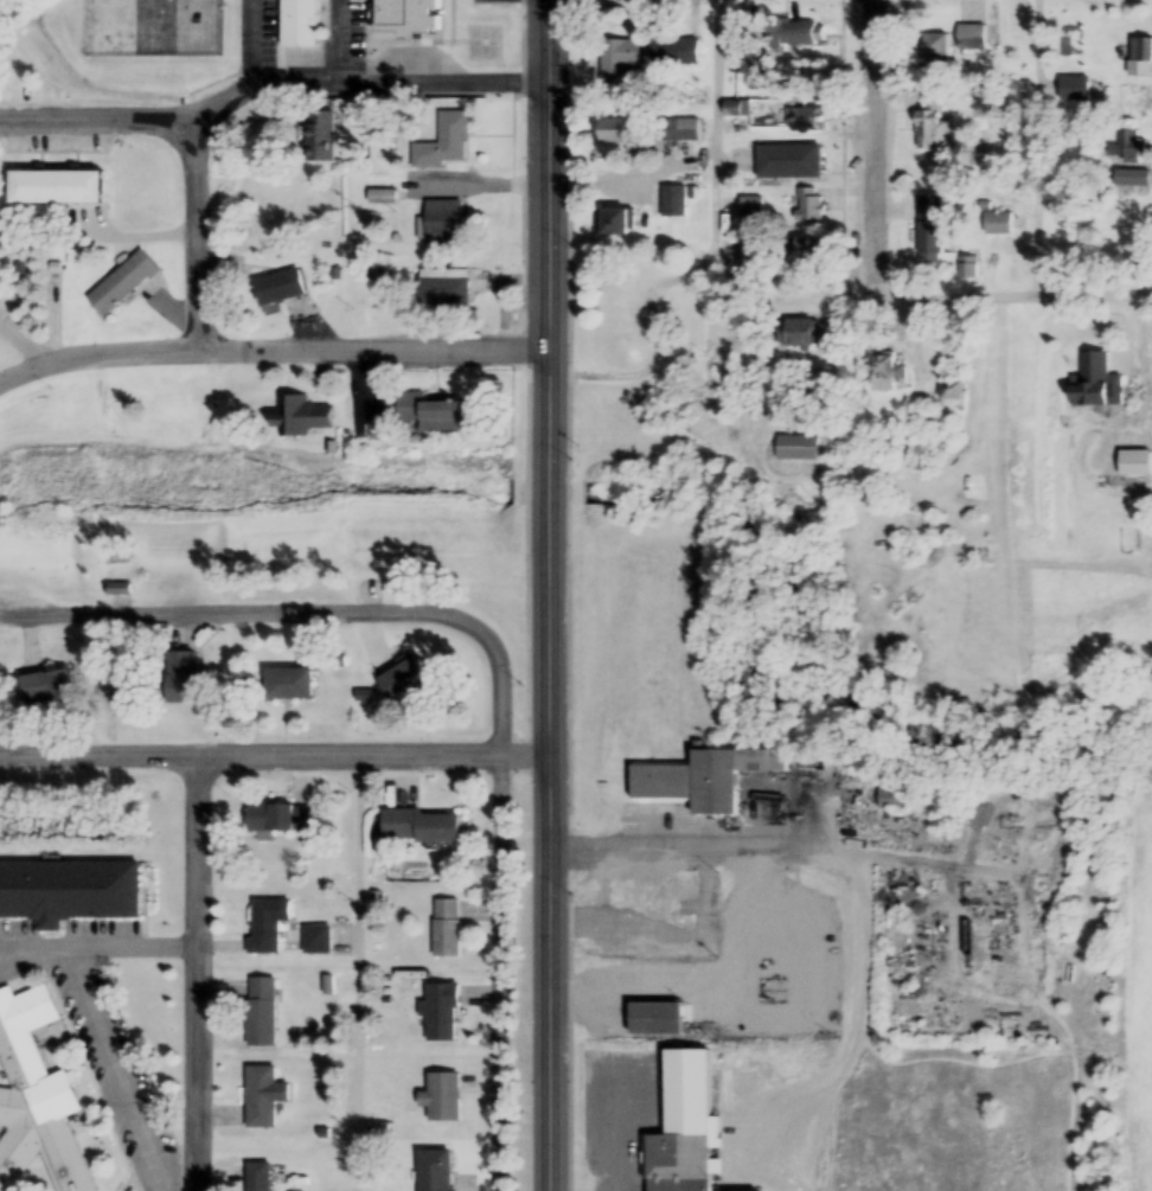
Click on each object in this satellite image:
building: (408, 11)
building: (297, 23)
building: (795, 34)
building: (971, 38)
helipad: (486, 41)
building: (934, 52)
building: (673, 55)
building: (1140, 55)
building: (617, 60)
building: (753, 64)
road: (369, 78)
road: (97, 115)
building: (804, 119)
building: (686, 129)
building: (609, 132)
building: (933, 133)
building: (318, 135)
building: (443, 142)
road: (1039, 142)
road: (877, 145)
building: (1135, 145)
building: (787, 162)
building: (51, 187)
building: (673, 201)
building: (808, 204)
building: (442, 222)
building: (614, 222)
building: (997, 223)
building: (929, 225)
road: (199, 230)
street lamp: (576, 245)
building: (805, 251)
road: (709, 254)
building: (967, 268)
building: (126, 284)
road: (1015, 286)
building: (275, 287)
building: (441, 287)
building: (795, 334)
road: (273, 342)
building: (883, 372)
building: (1094, 383)
building: (949, 396)
building: (429, 414)
building: (300, 418)
building: (793, 447)
street lamp: (578, 459)
building: (1131, 463)
road: (552, 595)
road: (252, 604)
building: (181, 670)
road: (504, 677)
building: (402, 680)
building: (288, 683)
street lamp: (524, 685)
building: (46, 687)
road: (275, 744)
building: (702, 779)
building: (889, 799)
building: (280, 818)
building: (420, 826)
road: (858, 877)
building: (68, 891)
street lamp: (576, 895)
building: (267, 923)
building: (446, 928)
road: (101, 948)
road: (364, 967)
road: (200, 968)
building: (260, 1012)
building: (440, 1012)
building: (655, 1019)
road: (123, 1069)
building: (261, 1097)
building: (441, 1097)
building: (34, 1101)
street lamp: (520, 1114)
building: (684, 1123)
building: (434, 1170)
building: (257, 1176)
building: (742, 1184)

